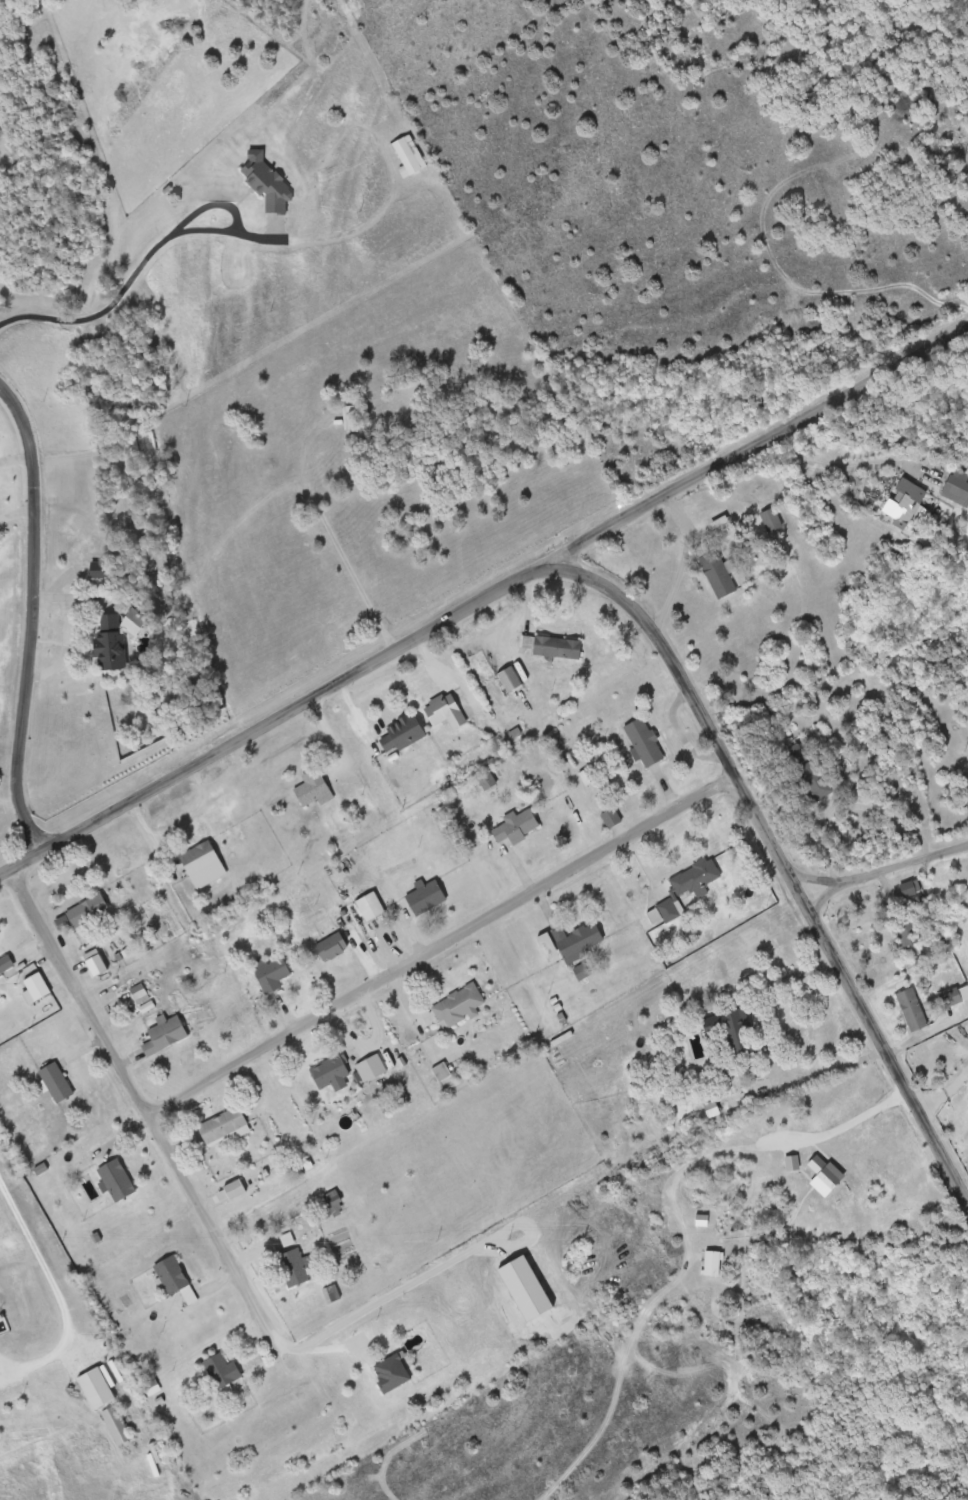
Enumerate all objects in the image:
building: (406, 153)
building: (264, 180)
road: (236, 214)
road: (103, 310)
building: (352, 416)
road: (767, 446)
building: (957, 483)
building: (771, 519)
building: (96, 571)
building: (718, 572)
road: (618, 602)
road: (31, 616)
building: (109, 639)
building: (556, 645)
building: (509, 678)
building: (444, 709)
building: (401, 732)
building: (645, 740)
building: (796, 754)
building: (815, 779)
building: (312, 787)
building: (612, 816)
building: (515, 824)
building: (202, 863)
road: (881, 874)
building: (688, 887)
building: (425, 894)
building: (369, 905)
building: (85, 909)
building: (907, 929)
building: (577, 940)
road: (443, 941)
building: (331, 945)
building: (5, 961)
building: (945, 963)
building: (271, 973)
building: (35, 984)
building: (140, 991)
building: (458, 1005)
building: (912, 1008)
building: (736, 1029)
building: (164, 1033)
building: (374, 1070)
building: (329, 1071)
road: (134, 1078)
building: (56, 1080)
building: (393, 1102)
building: (222, 1124)
building: (118, 1178)
building: (336, 1205)
building: (297, 1265)
building: (175, 1276)
road: (57, 1295)
road: (296, 1352)
building: (221, 1369)
building: (390, 1371)
building: (152, 1384)
building: (116, 1423)

